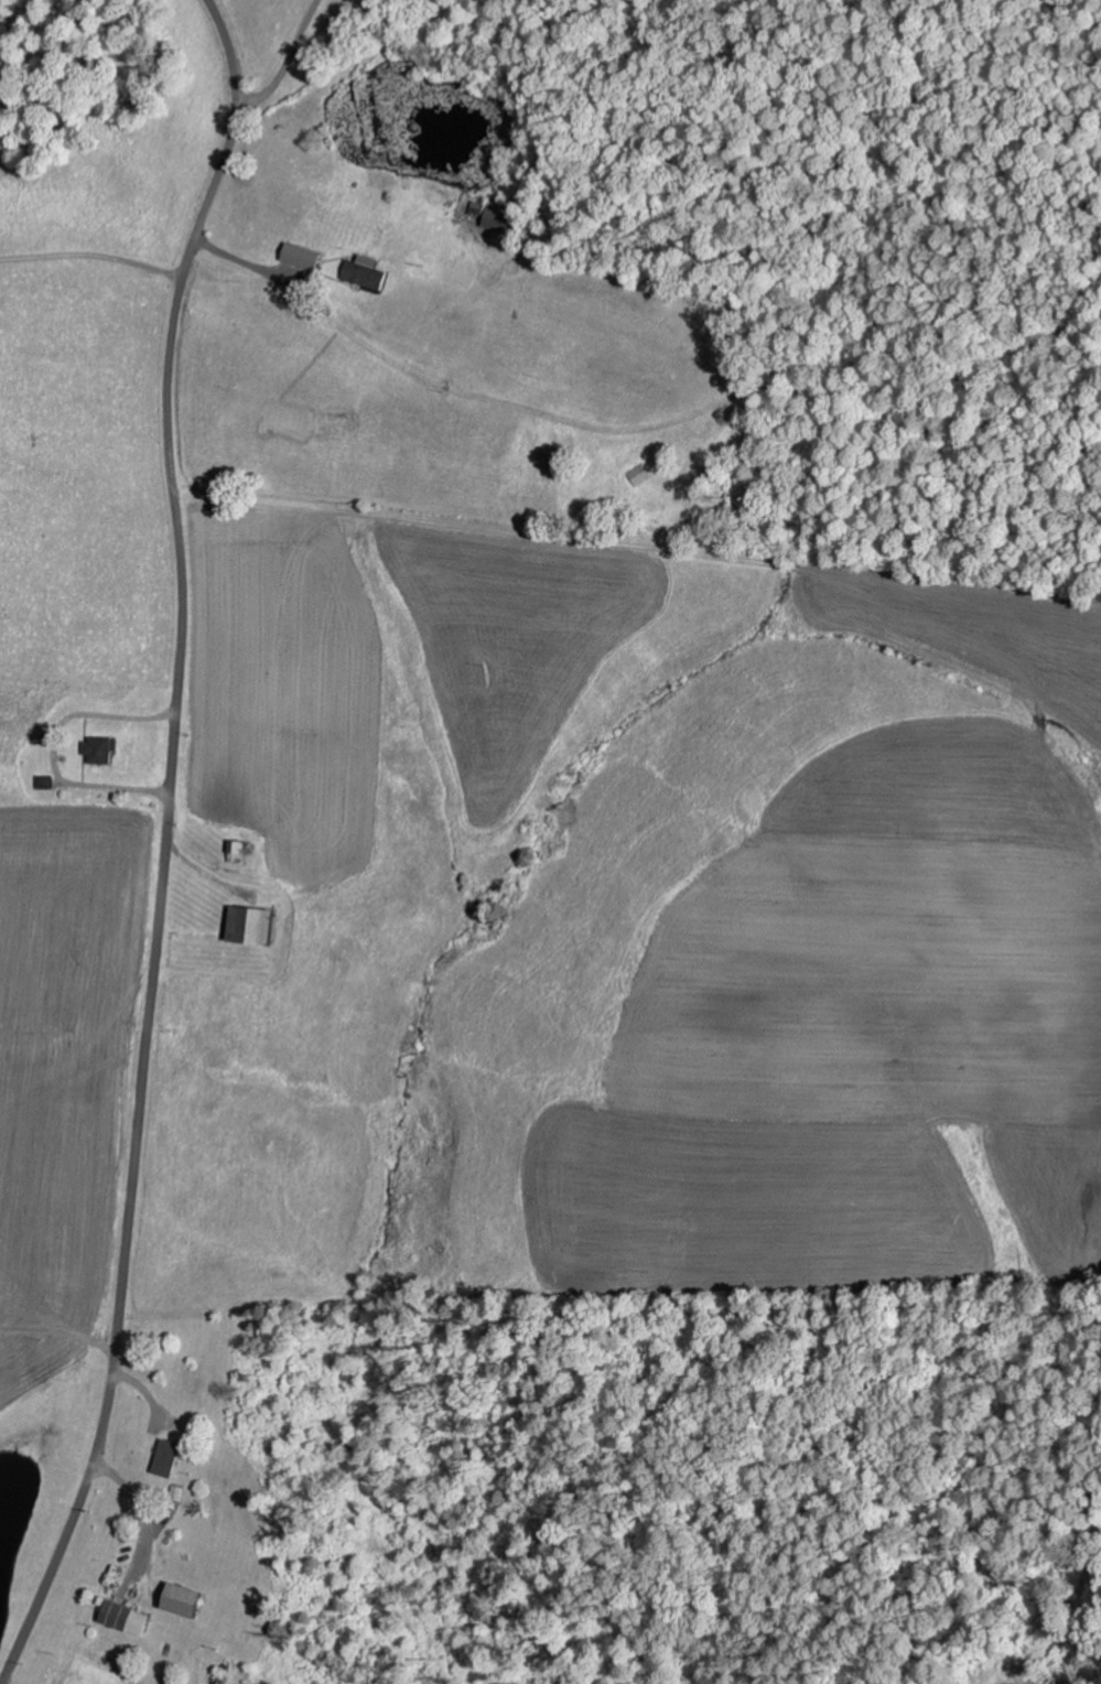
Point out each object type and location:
building: (498, 220)
building: (305, 260)
building: (368, 271)
road: (295, 310)
building: (641, 474)
building: (100, 749)
building: (47, 781)
road: (164, 845)
building: (241, 851)
building: (257, 926)
building: (172, 1457)
building: (190, 1599)
building: (128, 1617)

